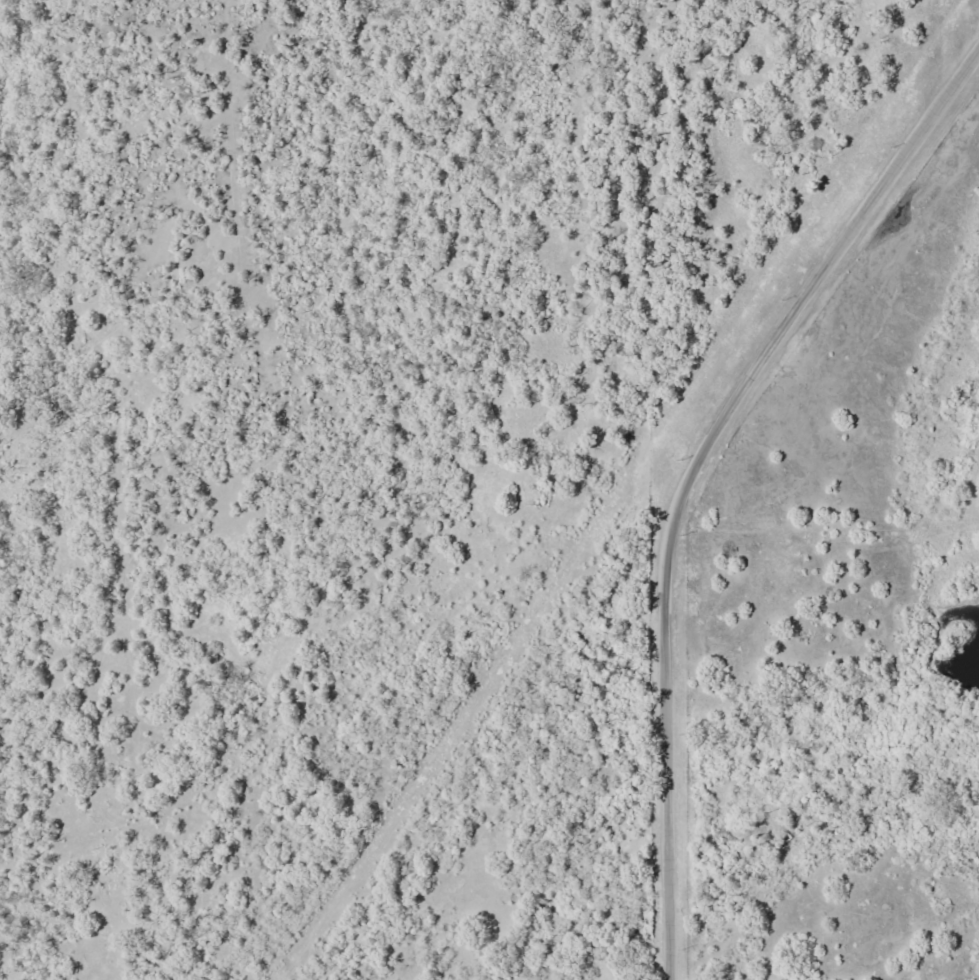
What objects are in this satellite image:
road: (695, 474)

